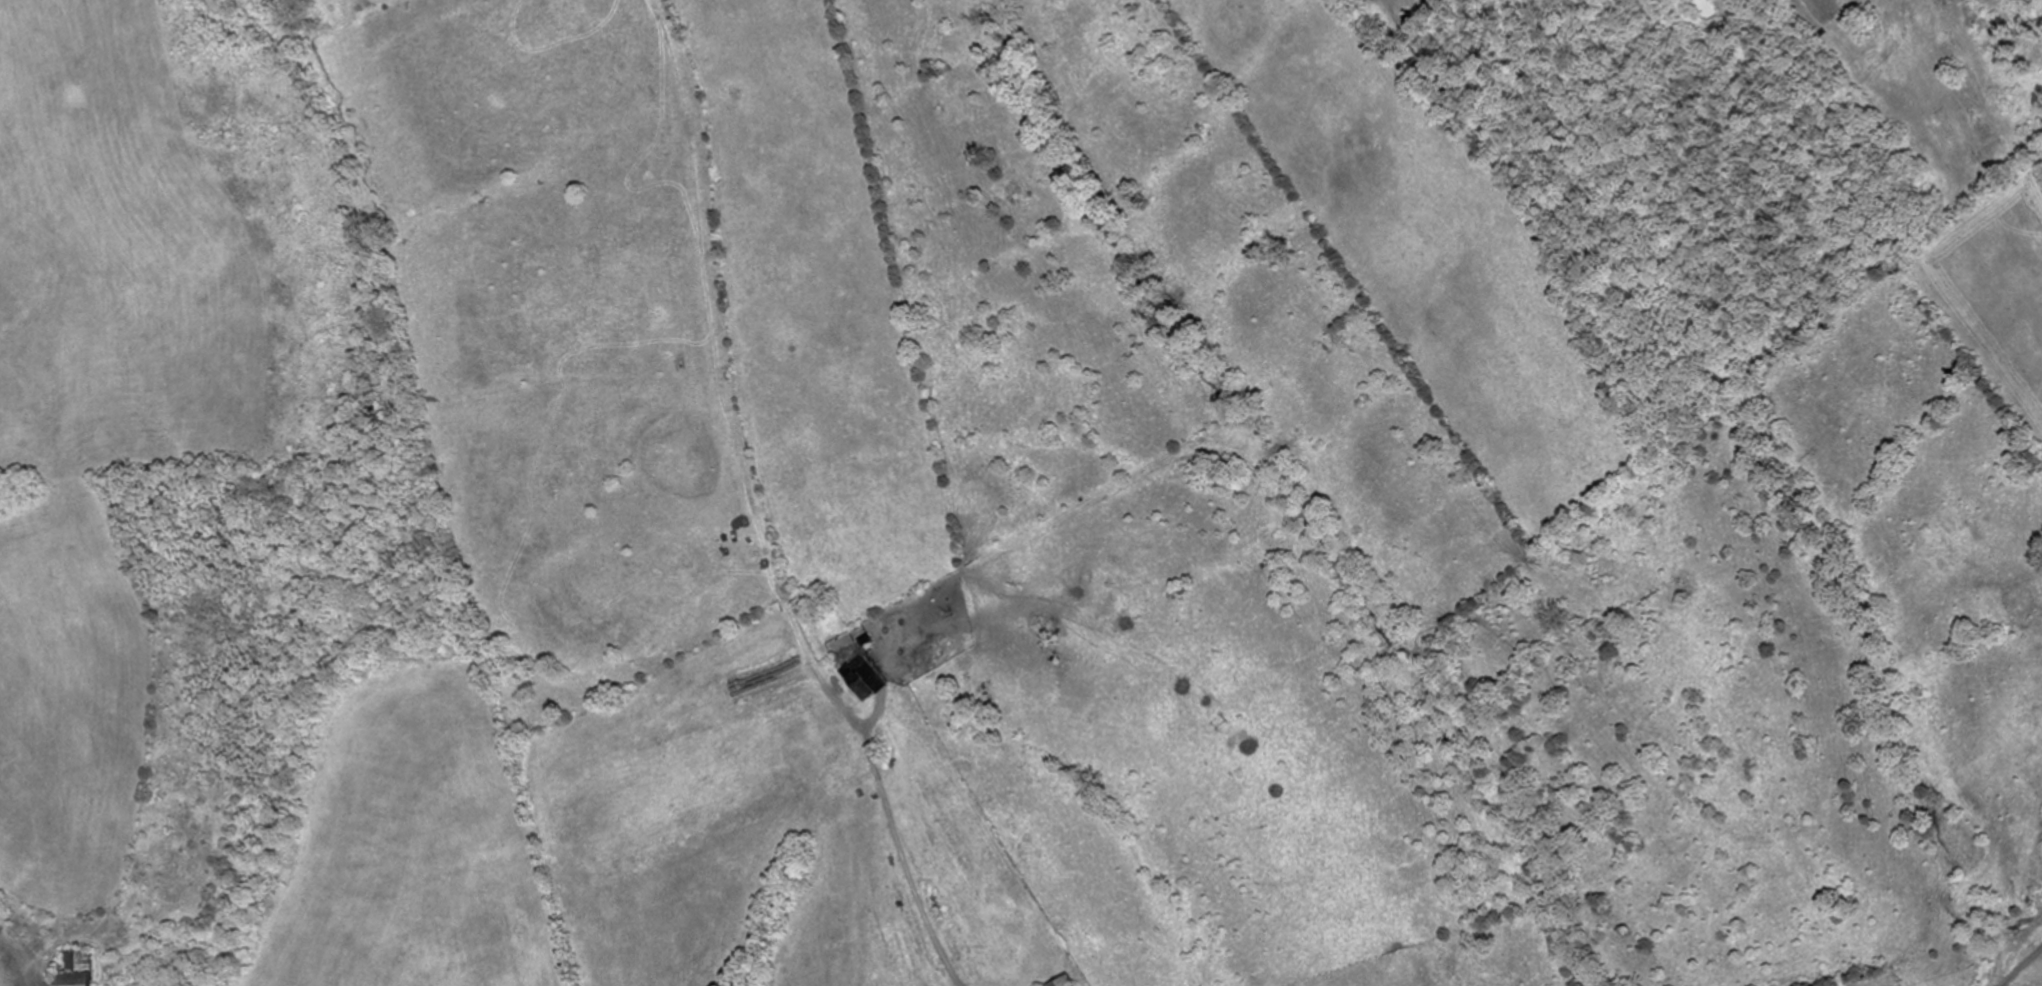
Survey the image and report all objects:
building: (855, 664)
road: (949, 834)
road: (20, 958)
building: (77, 968)
building: (1064, 981)

